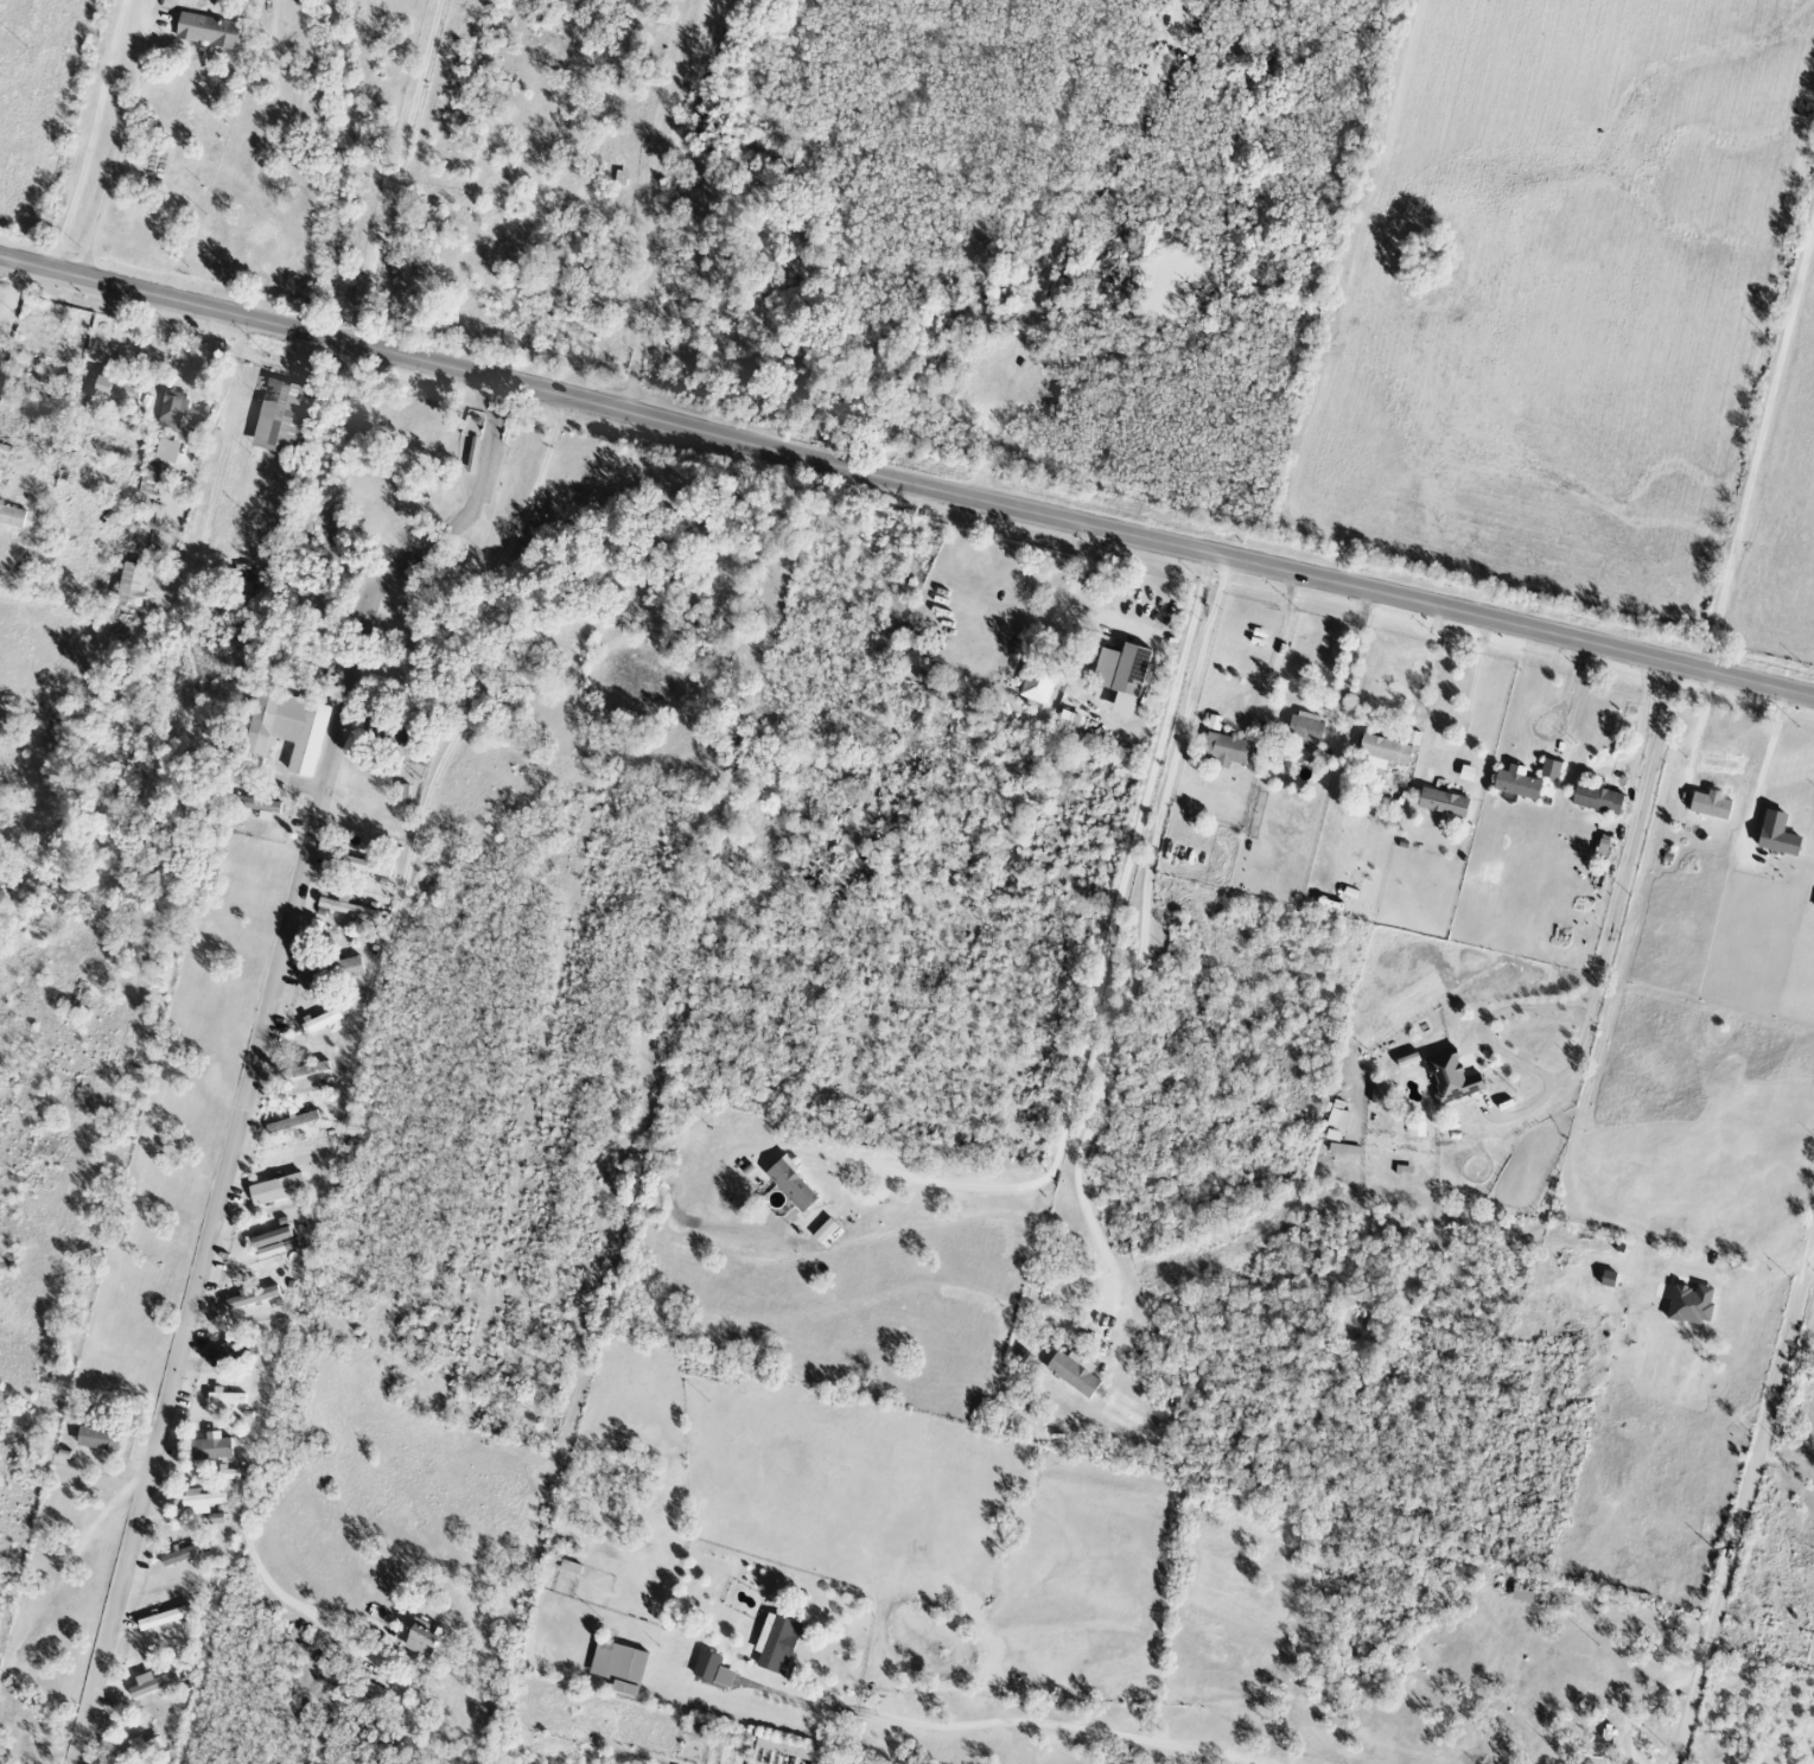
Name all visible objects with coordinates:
building: (210, 31)
road: (90, 135)
road: (116, 157)
road: (397, 172)
road: (653, 204)
road: (1061, 238)
road: (11, 313)
building: (120, 389)
building: (173, 412)
building: (285, 415)
road: (1759, 447)
building: (172, 453)
road: (906, 477)
building: (138, 574)
road: (1064, 601)
road: (1275, 645)
road: (1354, 650)
road: (1427, 664)
building: (1124, 674)
building: (1040, 683)
road: (1471, 693)
road: (1700, 725)
building: (1305, 727)
road: (1561, 728)
building: (284, 732)
building: (1226, 750)
building: (1382, 752)
building: (1305, 754)
road: (1768, 757)
building: (1549, 769)
building: (1515, 785)
building: (1595, 798)
building: (1441, 802)
building: (1708, 804)
building: (255, 805)
building: (1775, 834)
building: (363, 866)
building: (344, 909)
road: (1144, 932)
road: (1107, 954)
building: (333, 972)
road: (1598, 980)
building: (320, 1021)
road: (254, 1050)
road: (359, 1050)
building: (1451, 1078)
building: (1337, 1120)
building: (793, 1185)
building: (822, 1230)
road: (1812, 1268)
building: (252, 1298)
building: (1689, 1305)
building: (1073, 1373)
building: (225, 1397)
building: (96, 1440)
building: (210, 1447)
road: (1527, 1496)
building: (201, 1502)
road: (1746, 1508)
building: (420, 1638)
building: (775, 1644)
building: (618, 1667)
building: (711, 1670)
building: (149, 1685)
road: (1649, 1708)
road: (998, 1720)
building: (142, 1746)

